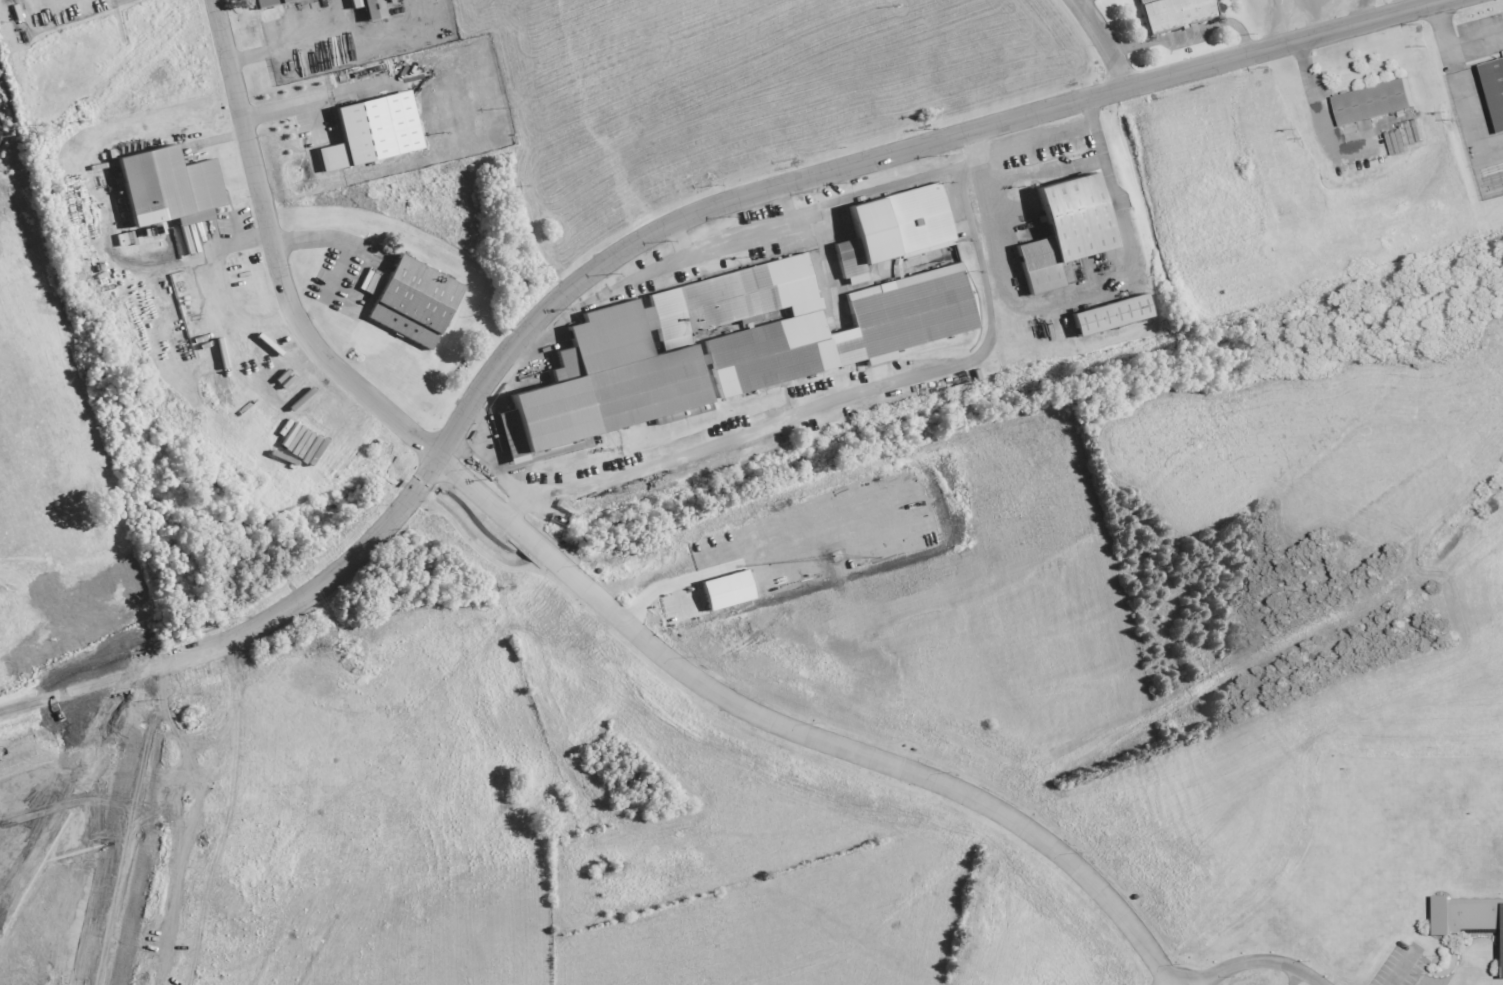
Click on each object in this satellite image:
building: (274, 2)
building: (373, 8)
building: (1178, 13)
road: (1295, 20)
road: (1105, 42)
building: (1494, 89)
building: (1368, 102)
building: (377, 131)
building: (173, 187)
road: (757, 190)
building: (897, 229)
building: (1060, 230)
road: (330, 239)
building: (410, 301)
building: (1108, 314)
building: (727, 346)
road: (812, 427)
road: (588, 585)
road: (138, 670)
road: (26, 702)
building: (1468, 916)
road: (1262, 956)
road: (1297, 976)

